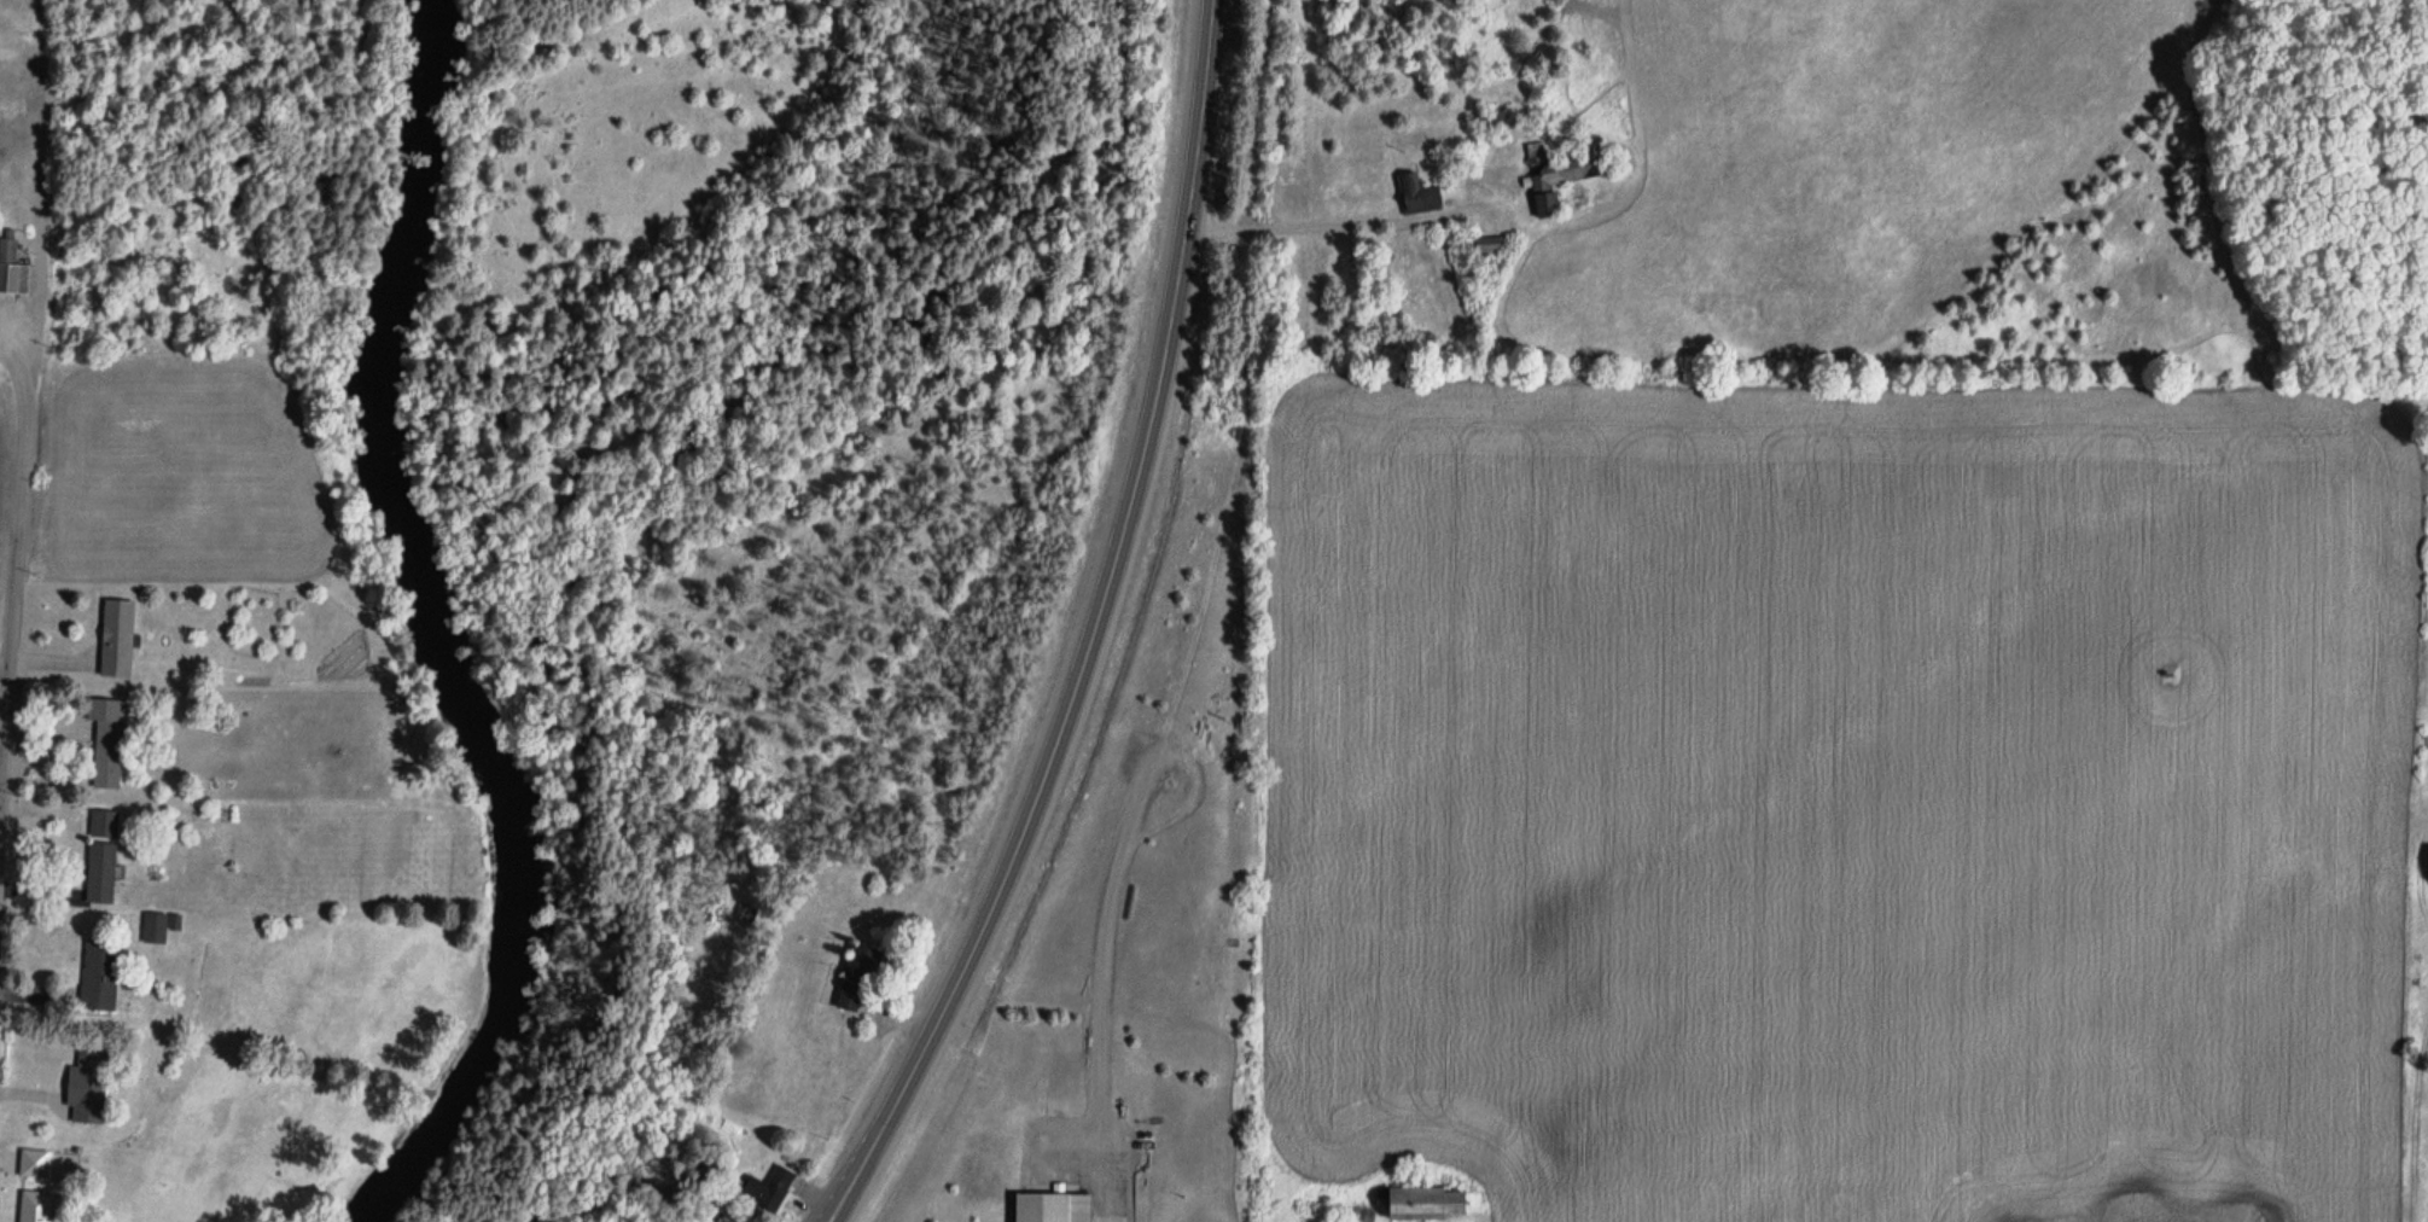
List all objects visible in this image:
building: (1486, 120)
building: (1559, 162)
building: (1409, 192)
building: (1541, 203)
road: (1347, 226)
building: (12, 272)
road: (14, 349)
road: (13, 625)
road: (1085, 634)
river: (464, 636)
building: (116, 639)
road: (51, 659)
road: (45, 729)
building: (105, 741)
road: (1176, 757)
road: (4, 764)
building: (103, 825)
building: (2427, 866)
building: (99, 873)
road: (36, 894)
building: (158, 926)
building: (854, 972)
building: (95, 974)
road: (1093, 1037)
building: (85, 1087)
road: (29, 1099)
road: (2416, 1111)
building: (34, 1164)
road: (7, 1165)
building: (764, 1186)
building: (1420, 1200)
building: (33, 1206)
building: (1050, 1206)

